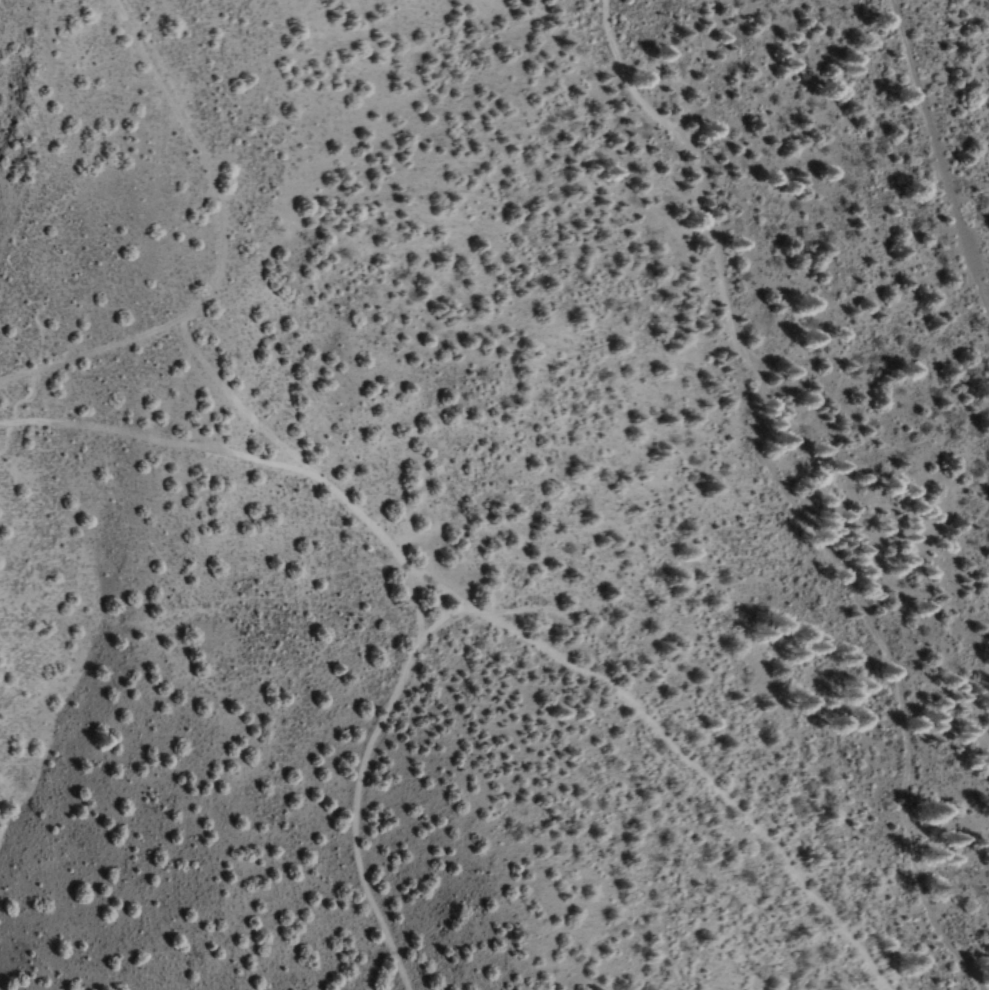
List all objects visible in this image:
road: (937, 161)
road: (214, 244)
road: (787, 496)
road: (403, 566)
road: (431, 583)
road: (675, 753)

